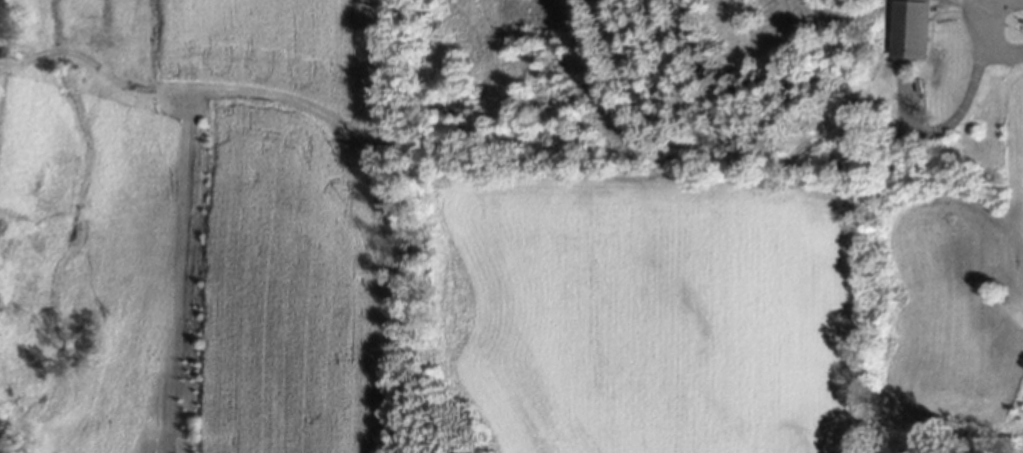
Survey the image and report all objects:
building: (912, 28)
road: (983, 31)
road: (76, 54)
road: (952, 123)

